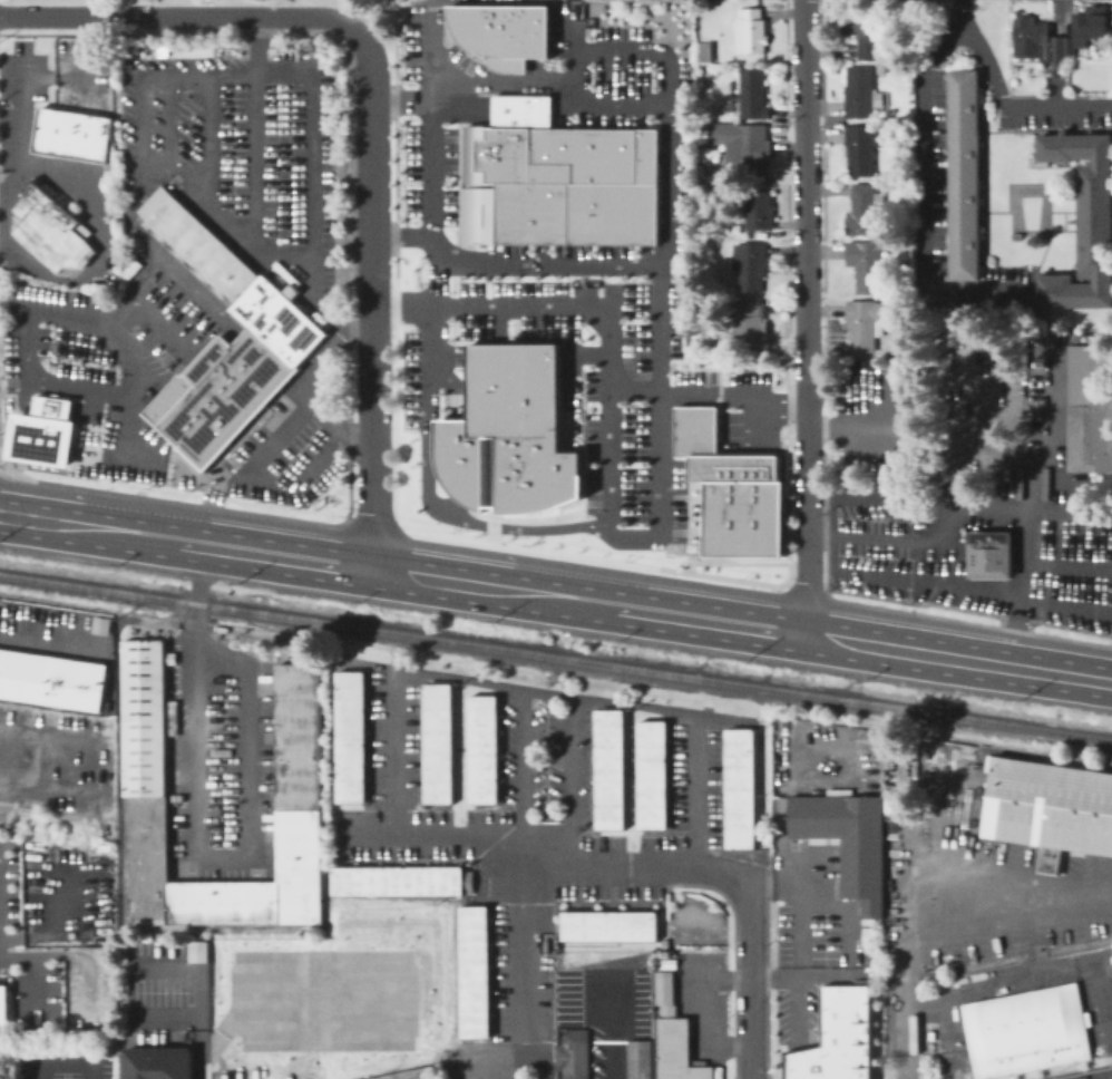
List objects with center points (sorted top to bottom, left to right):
building: (591, 8)
road: (185, 14)
road: (439, 19)
building: (1086, 23)
building: (909, 27)
building: (751, 30)
building: (865, 32)
building: (519, 40)
building: (1040, 42)
building: (705, 52)
road: (651, 57)
building: (882, 69)
road: (291, 74)
road: (51, 76)
road: (508, 89)
building: (754, 94)
building: (861, 94)
road: (406, 100)
road: (1002, 100)
building: (705, 105)
road: (347, 109)
road: (22, 124)
road: (254, 133)
building: (71, 134)
road: (209, 135)
building: (862, 148)
building: (749, 150)
building: (708, 169)
building: (965, 175)
building: (891, 176)
road: (928, 188)
building: (570, 191)
road: (203, 193)
building: (865, 210)
building: (758, 211)
building: (1085, 222)
road: (119, 229)
building: (50, 230)
building: (1017, 236)
building: (892, 237)
road: (674, 243)
road: (406, 244)
road: (101, 249)
road: (396, 261)
building: (867, 264)
building: (751, 266)
building: (127, 271)
road: (787, 293)
road: (822, 298)
road: (373, 304)
road: (51, 311)
road: (518, 311)
road: (804, 317)
building: (749, 322)
building: (867, 323)
road: (159, 325)
road: (359, 330)
building: (227, 341)
road: (26, 358)
road: (137, 359)
road: (60, 383)
road: (92, 393)
road: (642, 397)
road: (734, 397)
road: (51, 406)
building: (1090, 407)
road: (851, 420)
building: (42, 431)
building: (515, 437)
road: (433, 472)
road: (261, 480)
building: (732, 488)
road: (173, 500)
road: (1016, 506)
road: (138, 513)
road: (372, 518)
road: (965, 525)
road: (101, 527)
road: (664, 541)
road: (901, 548)
building: (987, 554)
road: (592, 556)
road: (1064, 577)
road: (1109, 579)
road: (855, 582)
road: (806, 593)
road: (609, 605)
road: (968, 621)
building: (99, 624)
road: (84, 641)
railway: (556, 655)
road: (768, 674)
road: (1063, 674)
building: (50, 681)
road: (538, 691)
road: (46, 729)
building: (344, 739)
building: (432, 746)
building: (478, 750)
road: (393, 751)
road: (519, 769)
building: (604, 770)
building: (647, 777)
road: (567, 781)
building: (138, 785)
road: (49, 789)
building: (734, 789)
road: (694, 790)
building: (293, 794)
road: (782, 798)
building: (1047, 804)
road: (364, 834)
road: (459, 834)
road: (195, 837)
building: (847, 842)
building: (105, 846)
road: (935, 857)
road: (637, 866)
road: (1089, 874)
building: (391, 882)
building: (217, 905)
road: (1004, 912)
road: (50, 918)
building: (604, 927)
road: (847, 934)
road: (733, 945)
road: (798, 949)
building: (197, 951)
road: (525, 966)
road: (136, 968)
road: (1033, 969)
road: (396, 971)
road: (1105, 972)
road: (33, 973)
building: (469, 974)
road: (691, 979)
road: (767, 981)
road: (750, 983)
building: (665, 994)
parking lot: (323, 1000)
building: (2, 1009)
road: (701, 1010)
road: (796, 1011)
road: (903, 1011)
road: (611, 1024)
building: (1025, 1030)
building: (838, 1038)
road: (202, 1047)
building: (671, 1051)
building: (572, 1053)
road: (948, 1056)
road: (503, 1059)
building: (636, 1060)
building: (156, 1062)
road: (1050, 1067)
road: (62, 1070)
building: (413, 1075)

